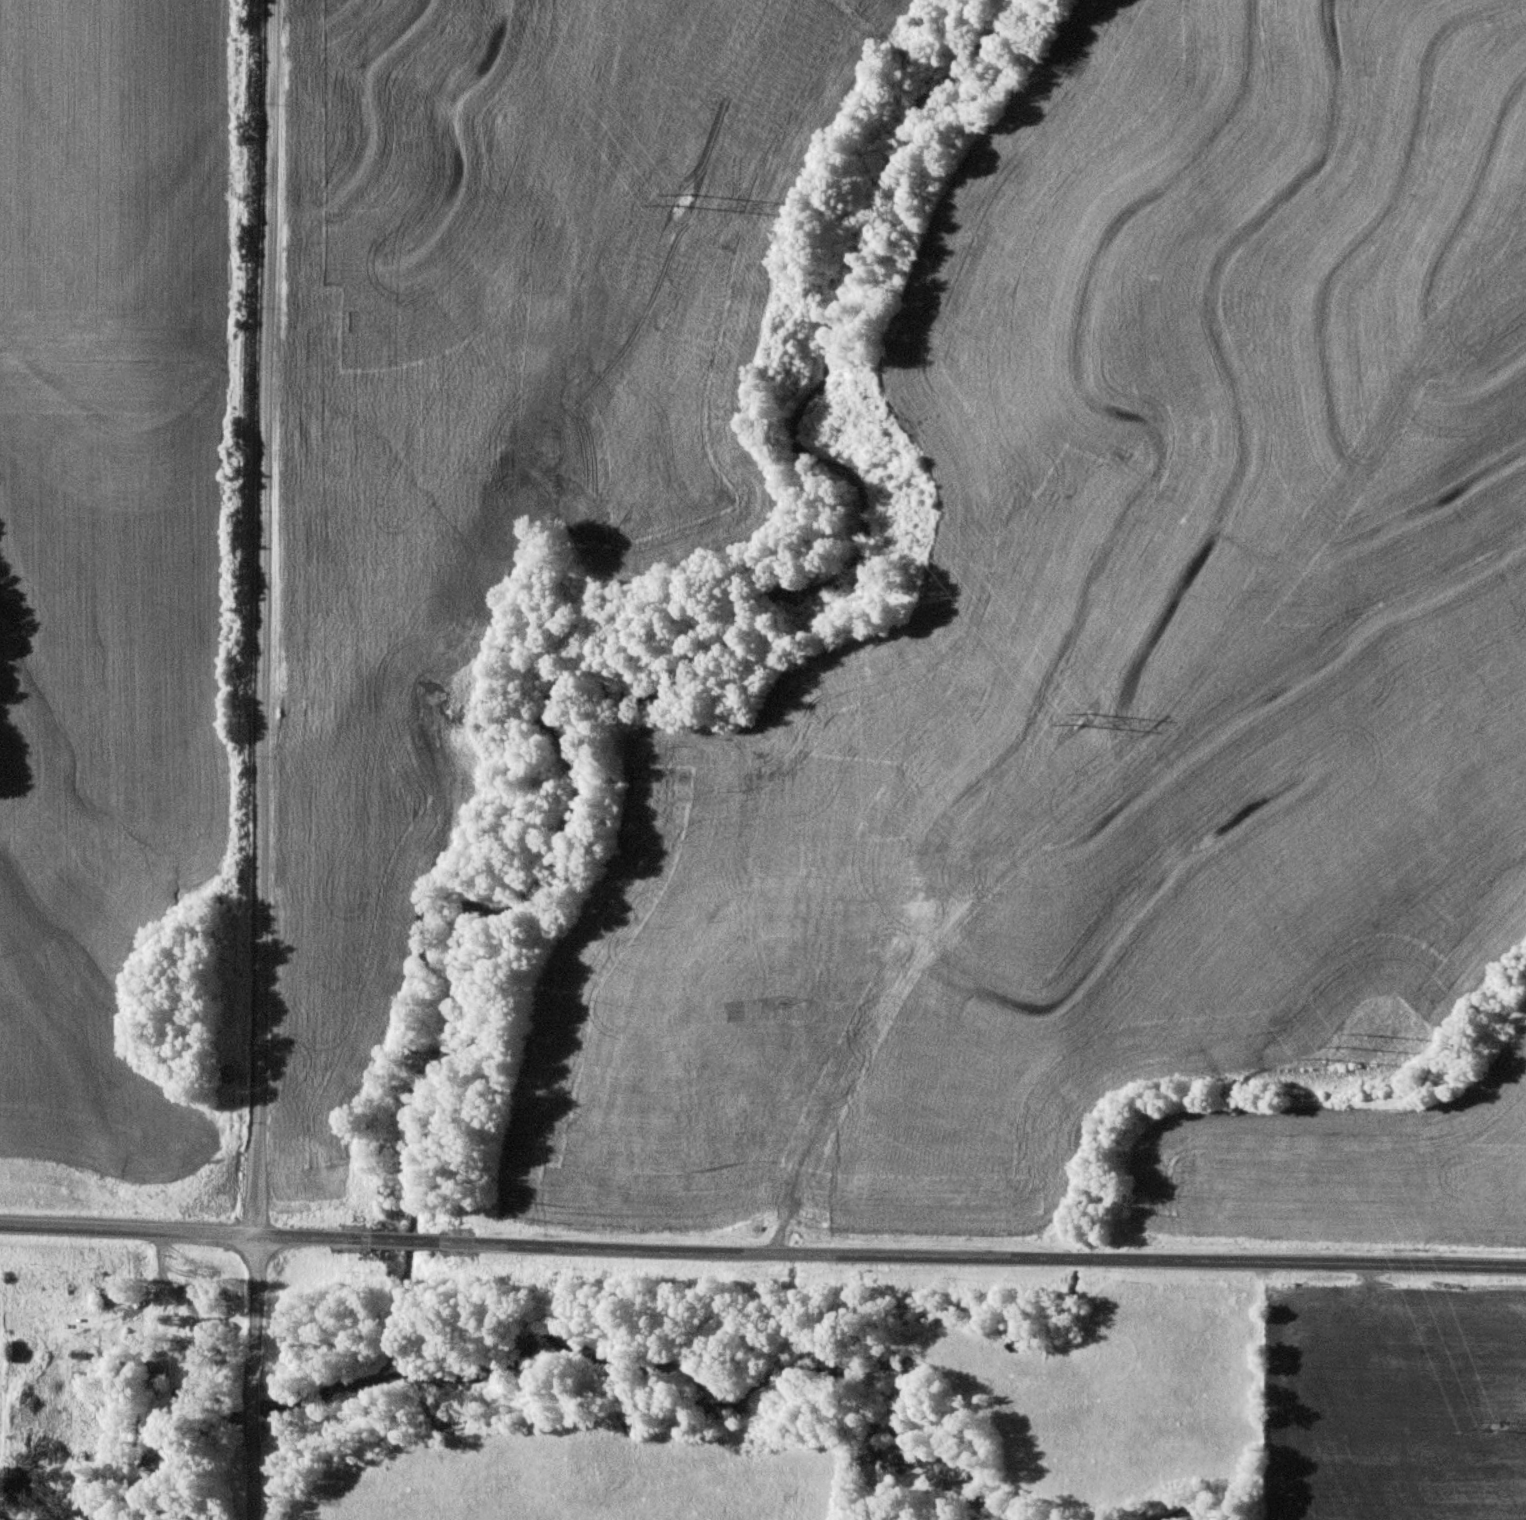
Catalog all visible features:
power tower: (667, 206)
road: (264, 617)
power tower: (1071, 719)
building: (821, 913)
building: (891, 939)
power tower: (1344, 1053)
road: (763, 1247)
building: (213, 1329)
building: (15, 1351)
building: (159, 1371)
road: (258, 1376)
power tower: (1489, 1432)

